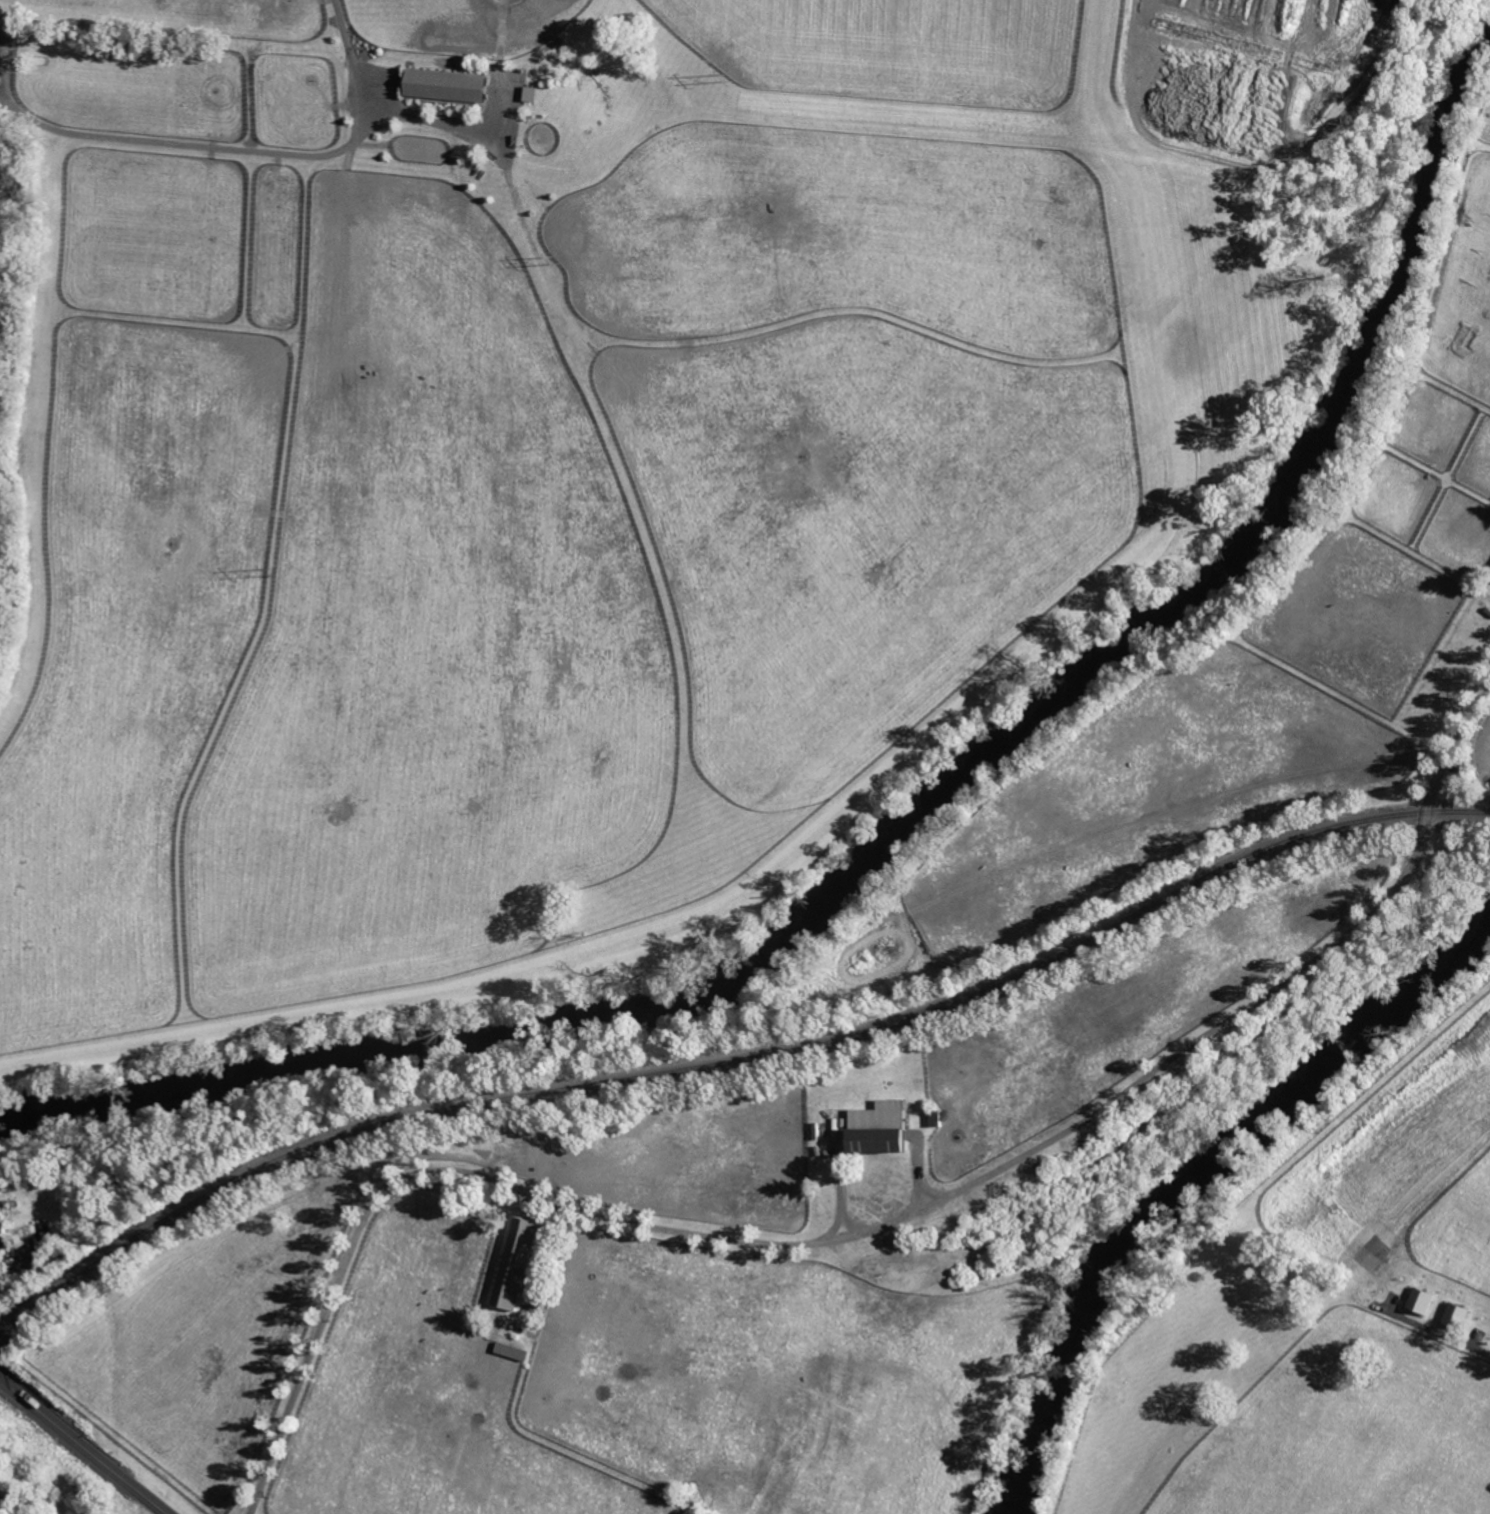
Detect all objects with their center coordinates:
power tower: (730, 77)
building: (442, 85)
road: (374, 95)
power tower: (555, 258)
power tower: (271, 572)
river: (930, 829)
railway: (738, 1061)
building: (878, 1114)
building: (873, 1139)
river: (1200, 1181)
road: (881, 1216)
building: (2, 1237)
road: (1456, 1343)
road: (25, 1398)
road: (109, 1465)
road: (11, 1506)

